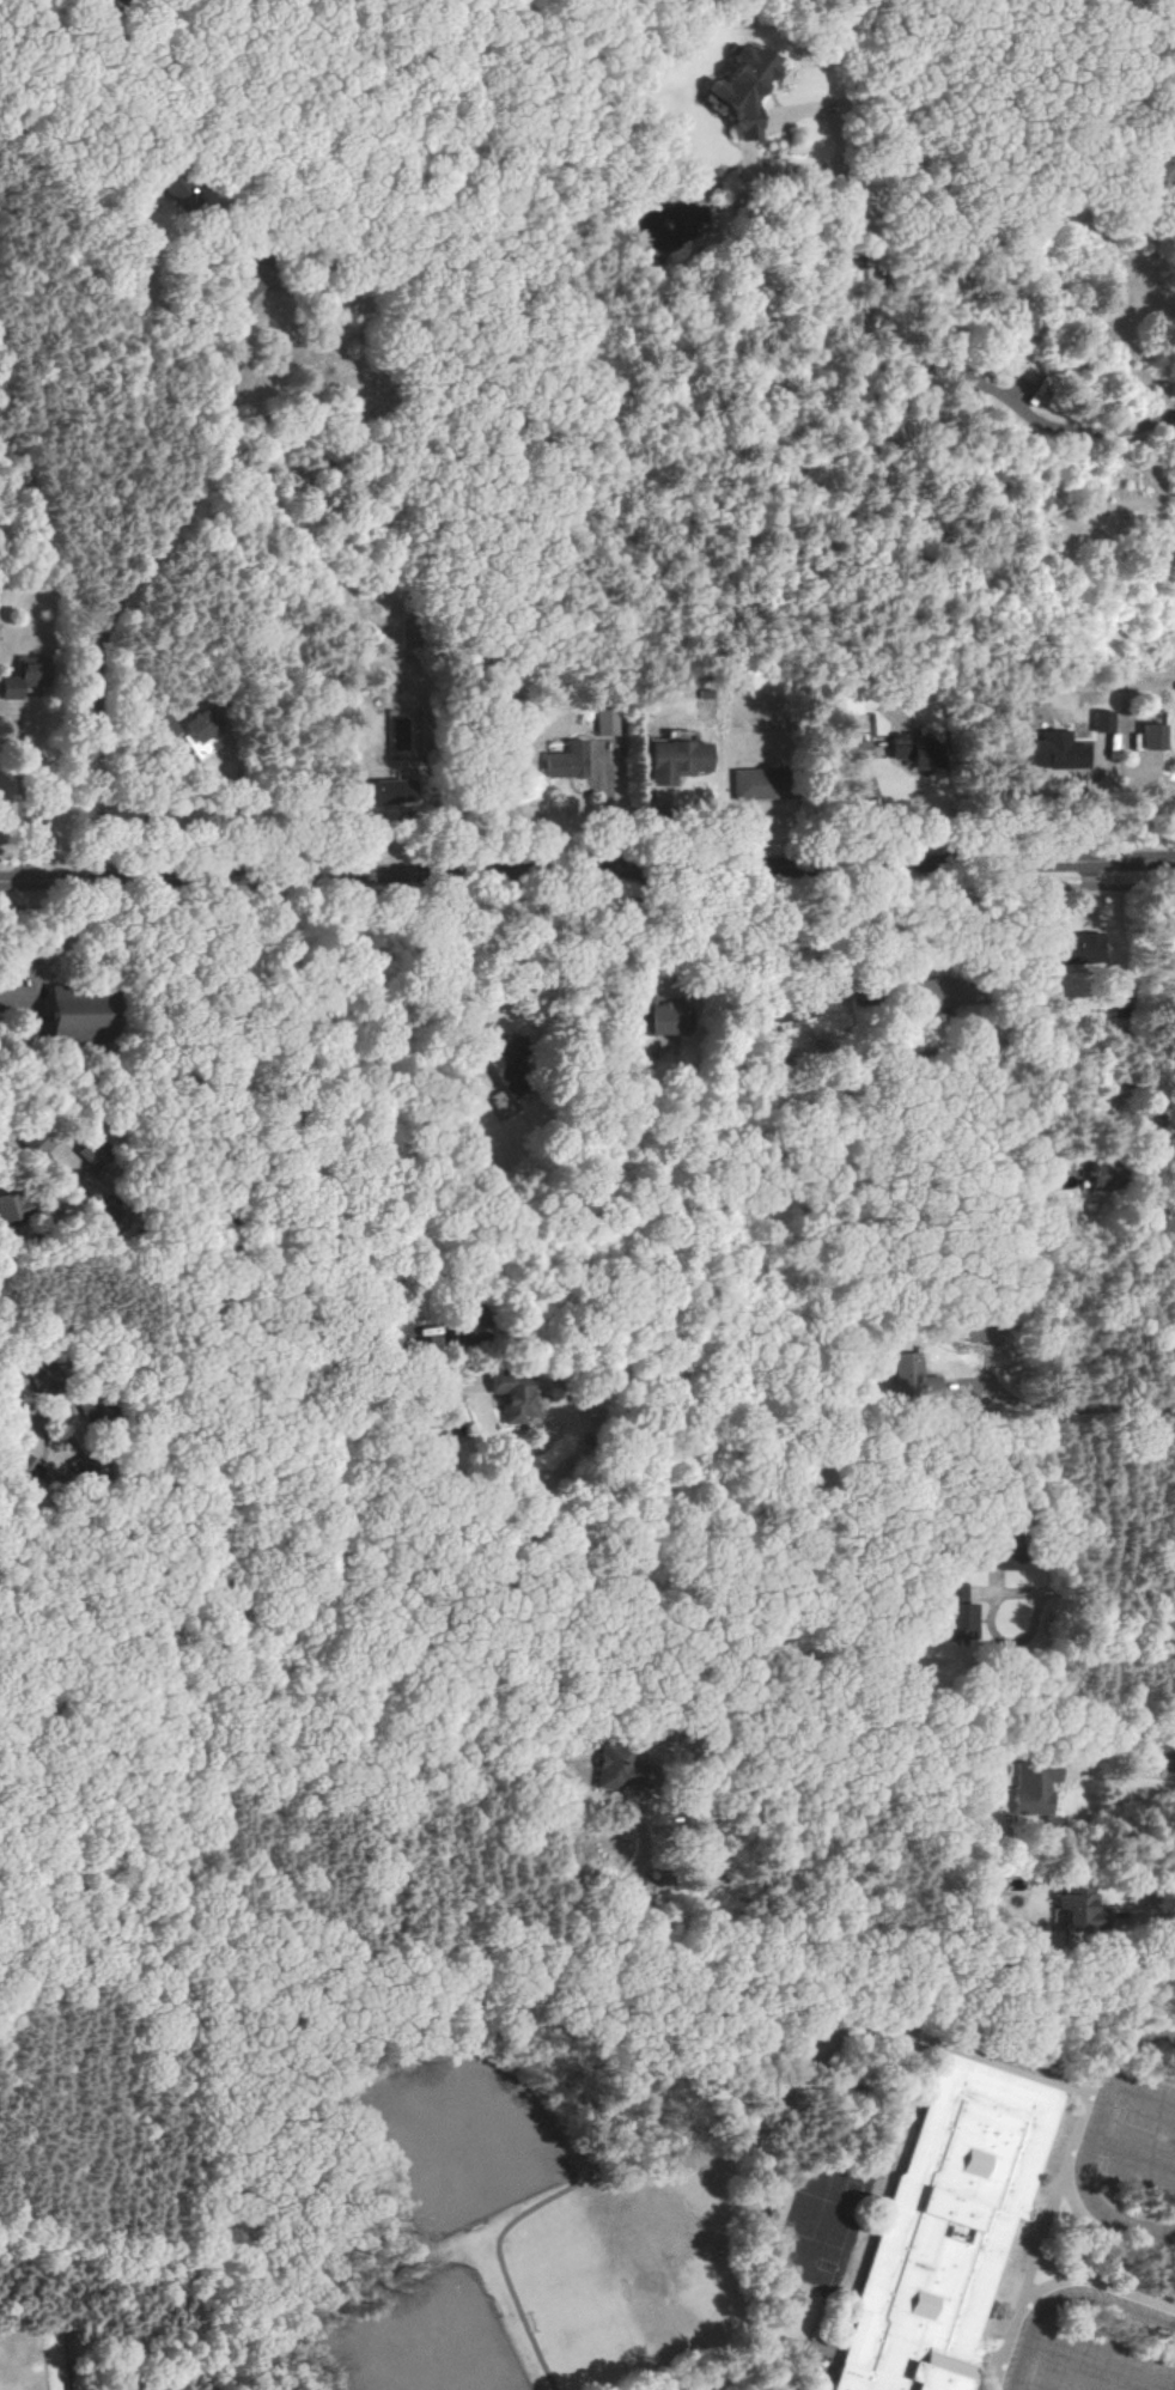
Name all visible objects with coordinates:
building: (99, 0)
building: (747, 89)
building: (1165, 166)
building: (172, 190)
road: (937, 360)
road: (140, 570)
building: (18, 680)
building: (607, 722)
building: (1100, 722)
building: (188, 736)
building: (1149, 736)
building: (917, 750)
building: (570, 760)
building: (678, 760)
building: (756, 783)
building: (392, 786)
road: (20, 793)
road: (148, 815)
building: (376, 860)
road: (586, 870)
road: (586, 899)
road: (836, 929)
building: (1171, 937)
building: (1072, 949)
road: (442, 969)
building: (74, 1014)
building: (662, 1020)
road: (1168, 1133)
building: (1102, 1178)
road: (232, 1188)
building: (12, 1205)
building: (915, 1378)
road: (1061, 1385)
building: (515, 1398)
building: (23, 1466)
road: (1101, 1589)
building: (956, 1607)
building: (614, 1768)
road: (1127, 1780)
building: (1033, 1789)
building: (1080, 1906)
road: (1151, 1916)
road: (1143, 2100)
road: (1103, 2111)
road: (1103, 2209)
building: (948, 2225)
road: (1067, 2298)
road: (1102, 2365)

